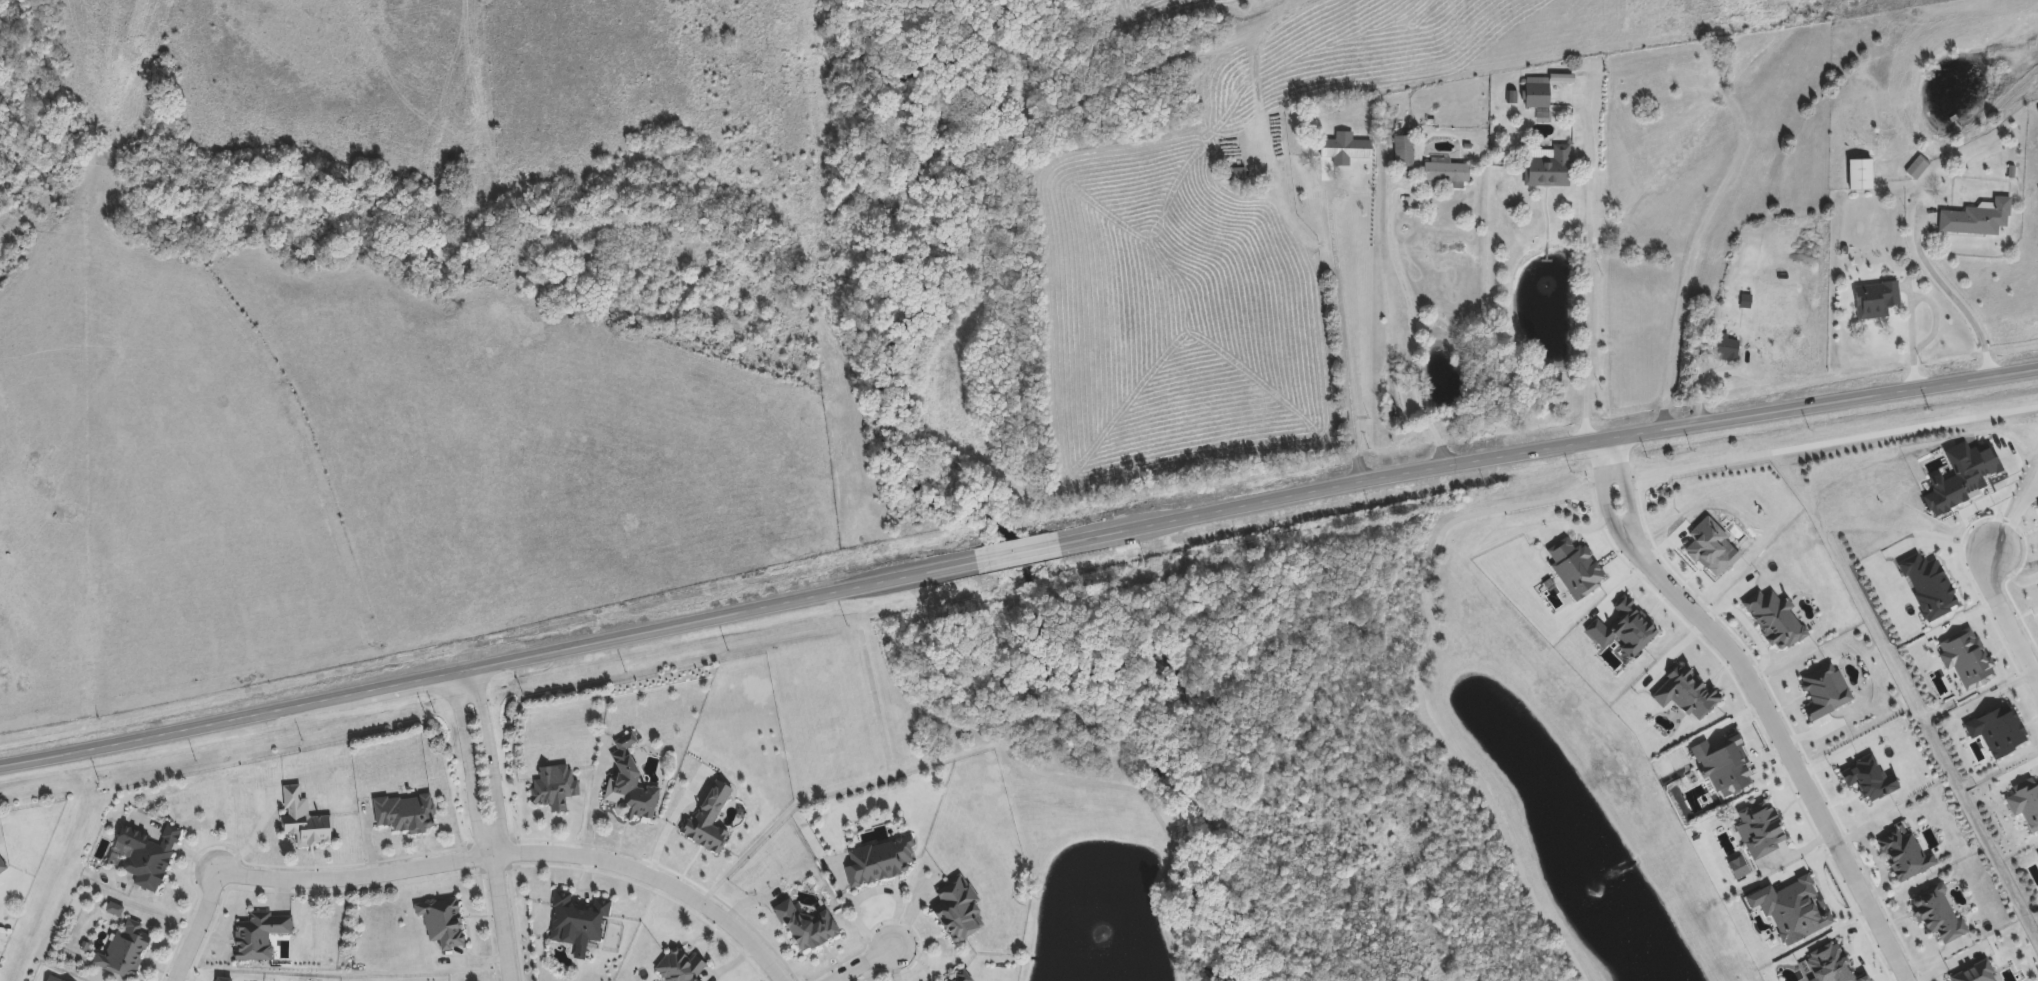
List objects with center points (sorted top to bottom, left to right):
road: (1255, 44)
building: (1694, 55)
building: (1723, 73)
building: (1538, 94)
building: (1345, 151)
building: (1405, 153)
building: (1551, 170)
building: (1448, 174)
building: (1233, 175)
building: (1858, 176)
building: (1975, 220)
road: (1586, 269)
road: (1955, 300)
building: (1877, 301)
road: (1909, 305)
road: (1404, 333)
road: (1341, 335)
building: (1725, 349)
road: (1703, 378)
road: (1545, 448)
road: (1629, 493)
road: (1607, 501)
road: (1016, 553)
road: (2005, 610)
road: (487, 665)
road: (1791, 753)
road: (490, 761)
road: (467, 766)
building: (630, 786)
building: (555, 789)
building: (405, 814)
building: (305, 821)
building: (145, 856)
road: (463, 859)
building: (878, 861)
building: (0, 873)
fountain: (1599, 893)
building: (959, 910)
road: (503, 917)
building: (577, 921)
building: (443, 923)
building: (808, 927)
building: (261, 937)
building: (126, 949)
road: (862, 965)
building: (683, 967)

